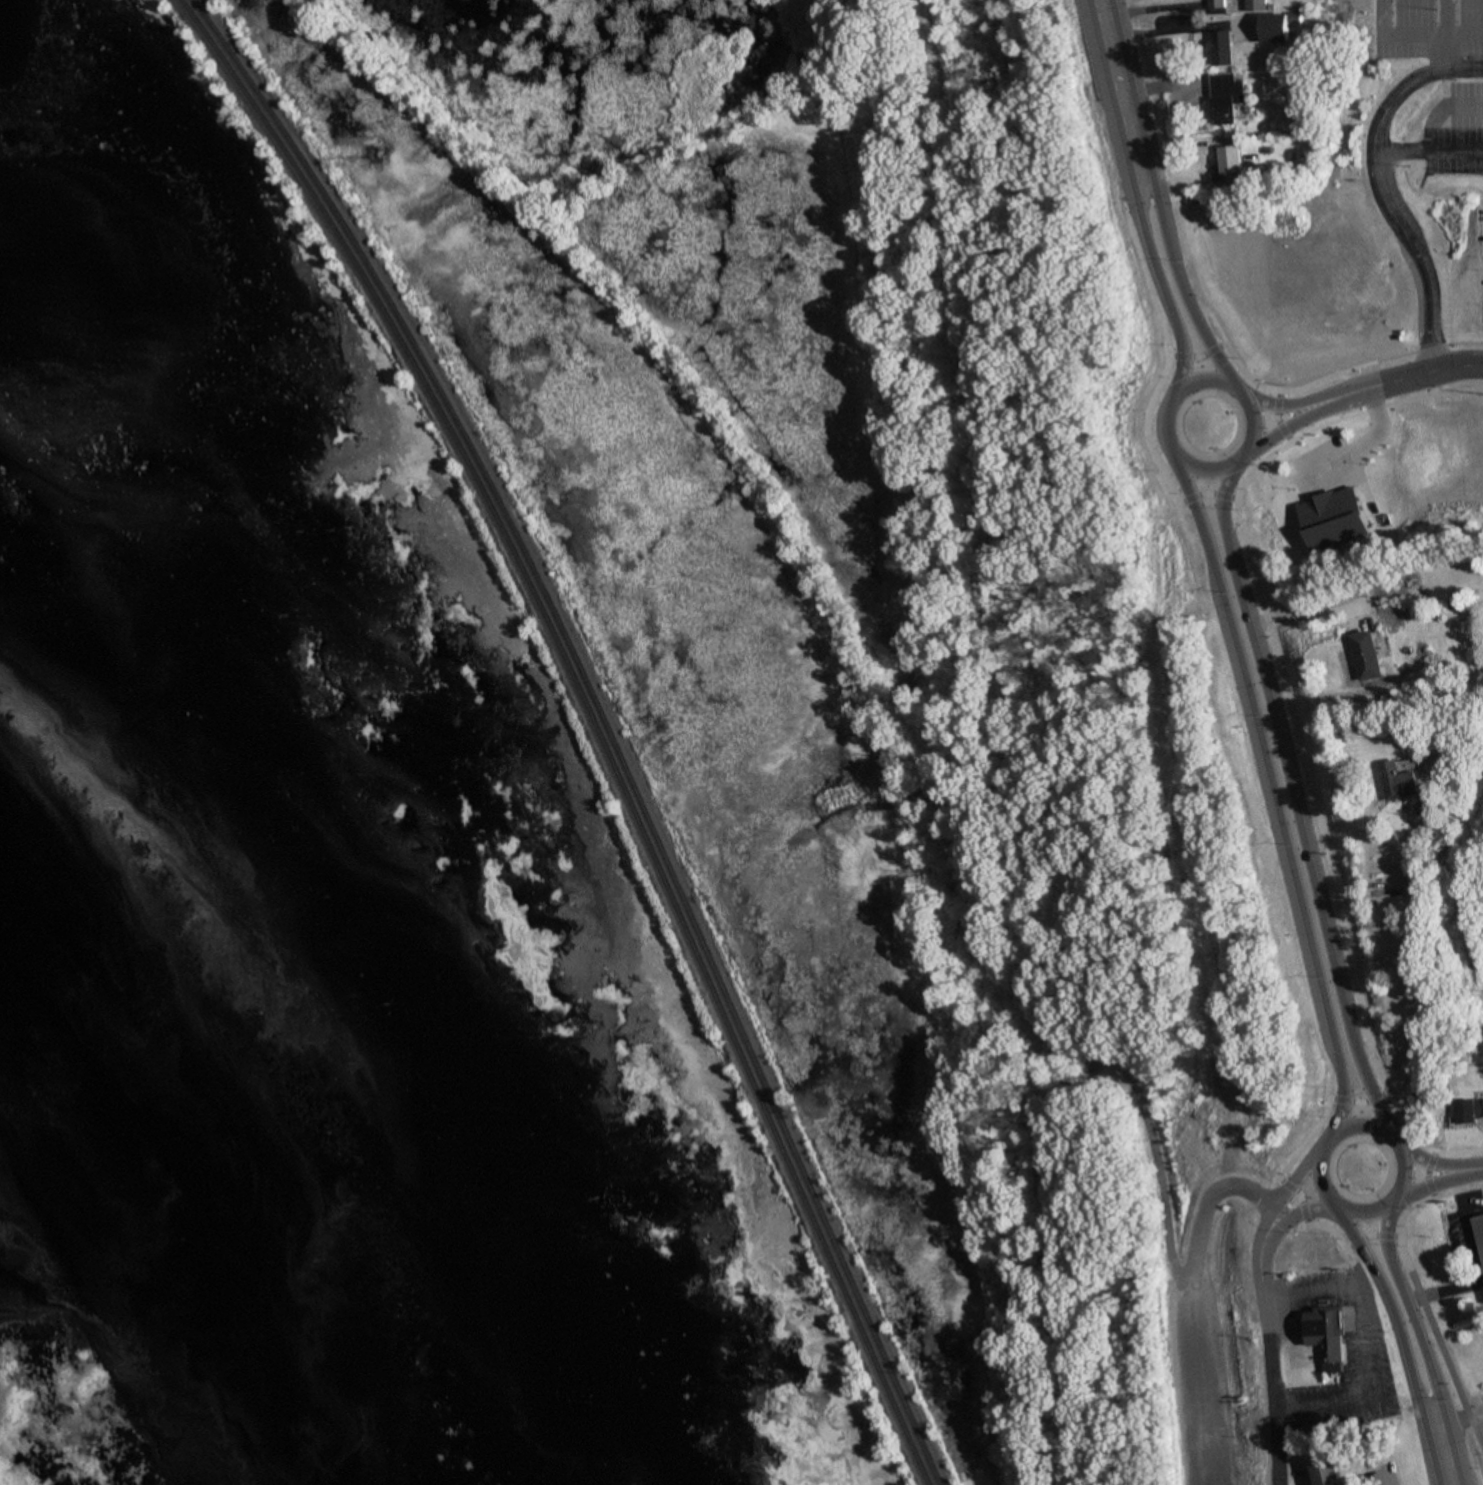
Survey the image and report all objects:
road: (1095, 4)
road: (1097, 4)
building: (1215, 4)
building: (1253, 5)
road: (1372, 17)
building: (1276, 27)
parking lot: (1423, 29)
road: (1428, 33)
road: (1436, 35)
building: (1219, 49)
road: (1115, 95)
building: (1224, 99)
road: (1434, 107)
parking lot: (1451, 130)
road: (1426, 150)
building: (1230, 160)
road: (1375, 182)
road: (1173, 284)
road: (1155, 292)
road: (1204, 313)
road: (1157, 331)
road: (1371, 360)
road: (1390, 376)
road: (1236, 396)
road: (1261, 399)
road: (1380, 402)
road: (1273, 417)
road: (1352, 446)
road: (1152, 461)
parking lot: (1313, 464)
road: (1215, 496)
road: (1187, 501)
building: (1328, 513)
road: (1185, 523)
road: (1230, 526)
road: (1302, 609)
building: (1366, 654)
railway: (594, 721)
railway: (605, 722)
road: (1001, 742)
building: (1403, 779)
road: (1285, 783)
road: (1266, 784)
road: (1327, 876)
park: (1474, 883)
road: (1411, 956)
road: (1360, 1081)
road: (1333, 1082)
road: (1134, 1095)
road: (1353, 1099)
building: (1469, 1110)
road: (1343, 1120)
road: (1299, 1136)
road: (1455, 1146)
road: (1428, 1161)
road: (1472, 1168)
road: (1426, 1183)
road: (1280, 1185)
road: (1452, 1186)
road: (1291, 1213)
road: (1460, 1218)
building: (1477, 1233)
road: (1330, 1240)
building: (1306, 1242)
road: (1441, 1286)
road: (1190, 1303)
road: (1358, 1330)
building: (1325, 1334)
road: (1399, 1340)
road: (1420, 1341)
road: (1264, 1356)
parking lot: (1200, 1394)
road: (1463, 1413)
building: (1325, 1470)

